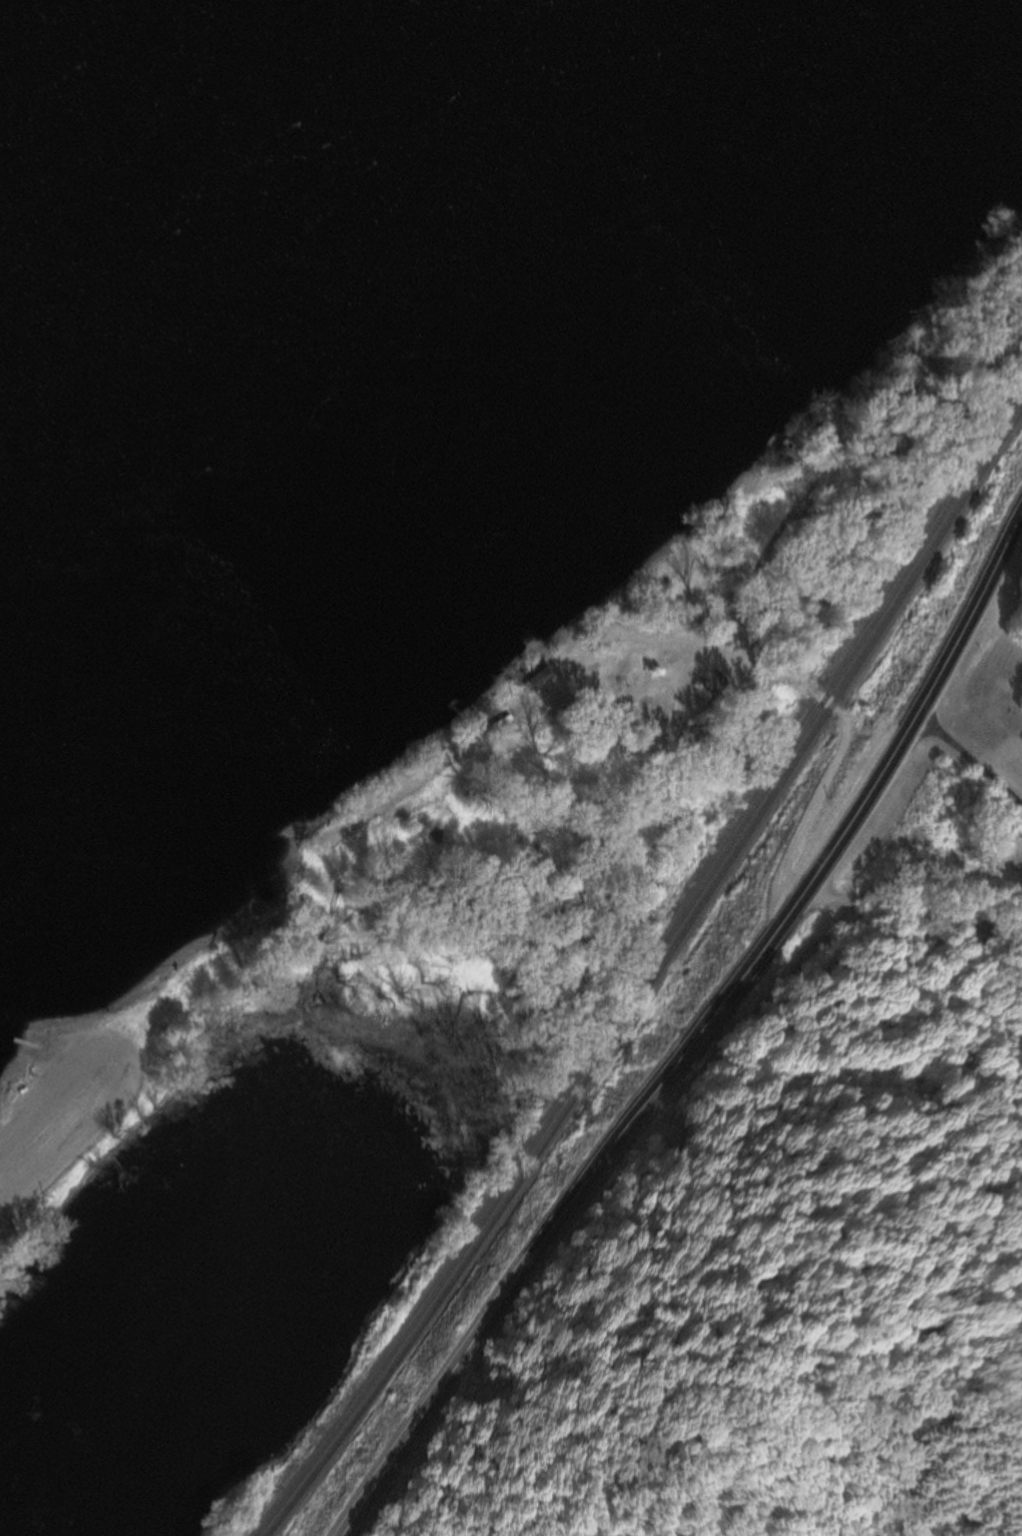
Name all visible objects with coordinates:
river: (98, 74)
road: (675, 640)
road: (969, 758)
railway: (645, 968)
railway: (651, 979)
road: (694, 1036)
parking lot: (60, 1100)
road: (46, 1111)
park: (25, 1225)

